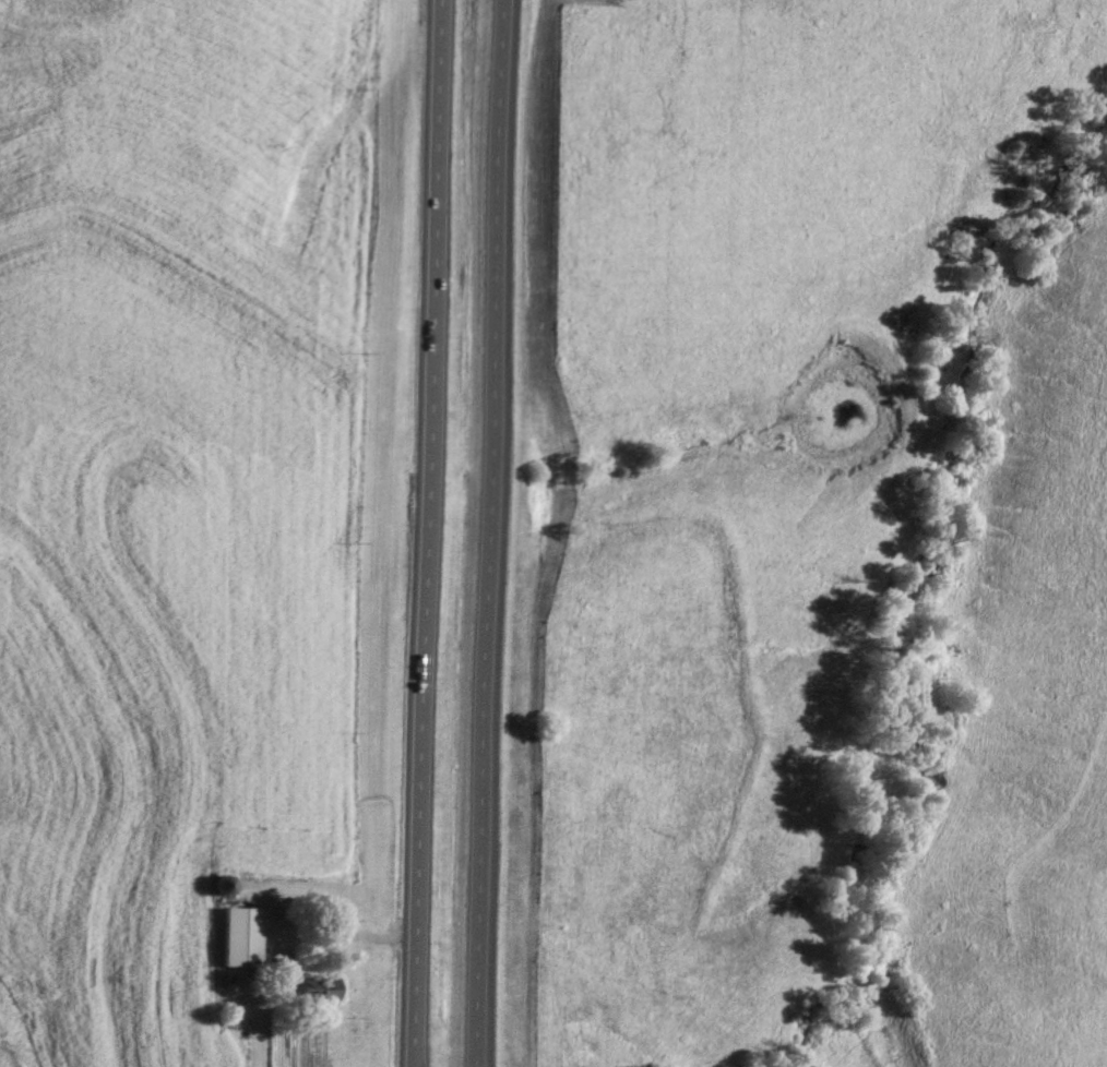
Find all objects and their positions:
road: (428, 533)
road: (495, 533)
building: (242, 935)
road: (285, 937)
building: (321, 986)

